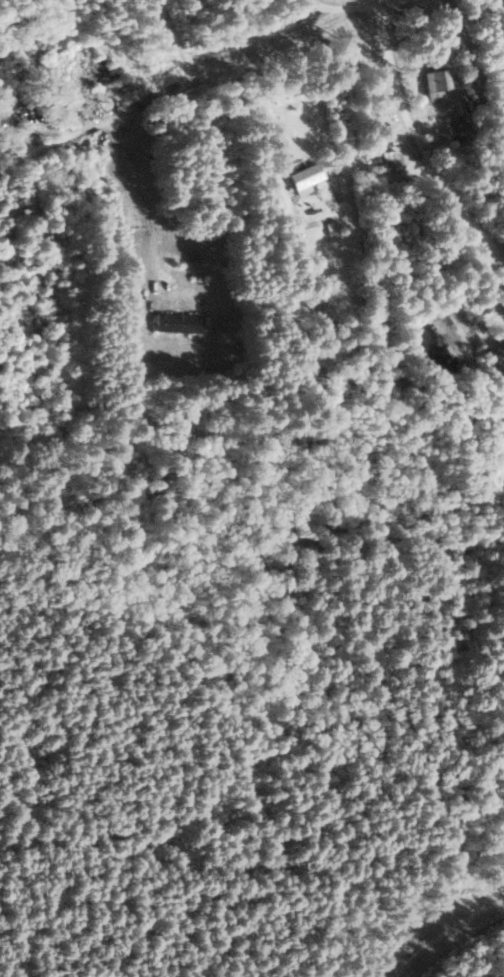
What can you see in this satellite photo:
road: (321, 6)
road: (177, 40)
building: (437, 81)
road: (180, 87)
road: (429, 138)
building: (305, 176)
road: (144, 193)
building: (178, 321)

